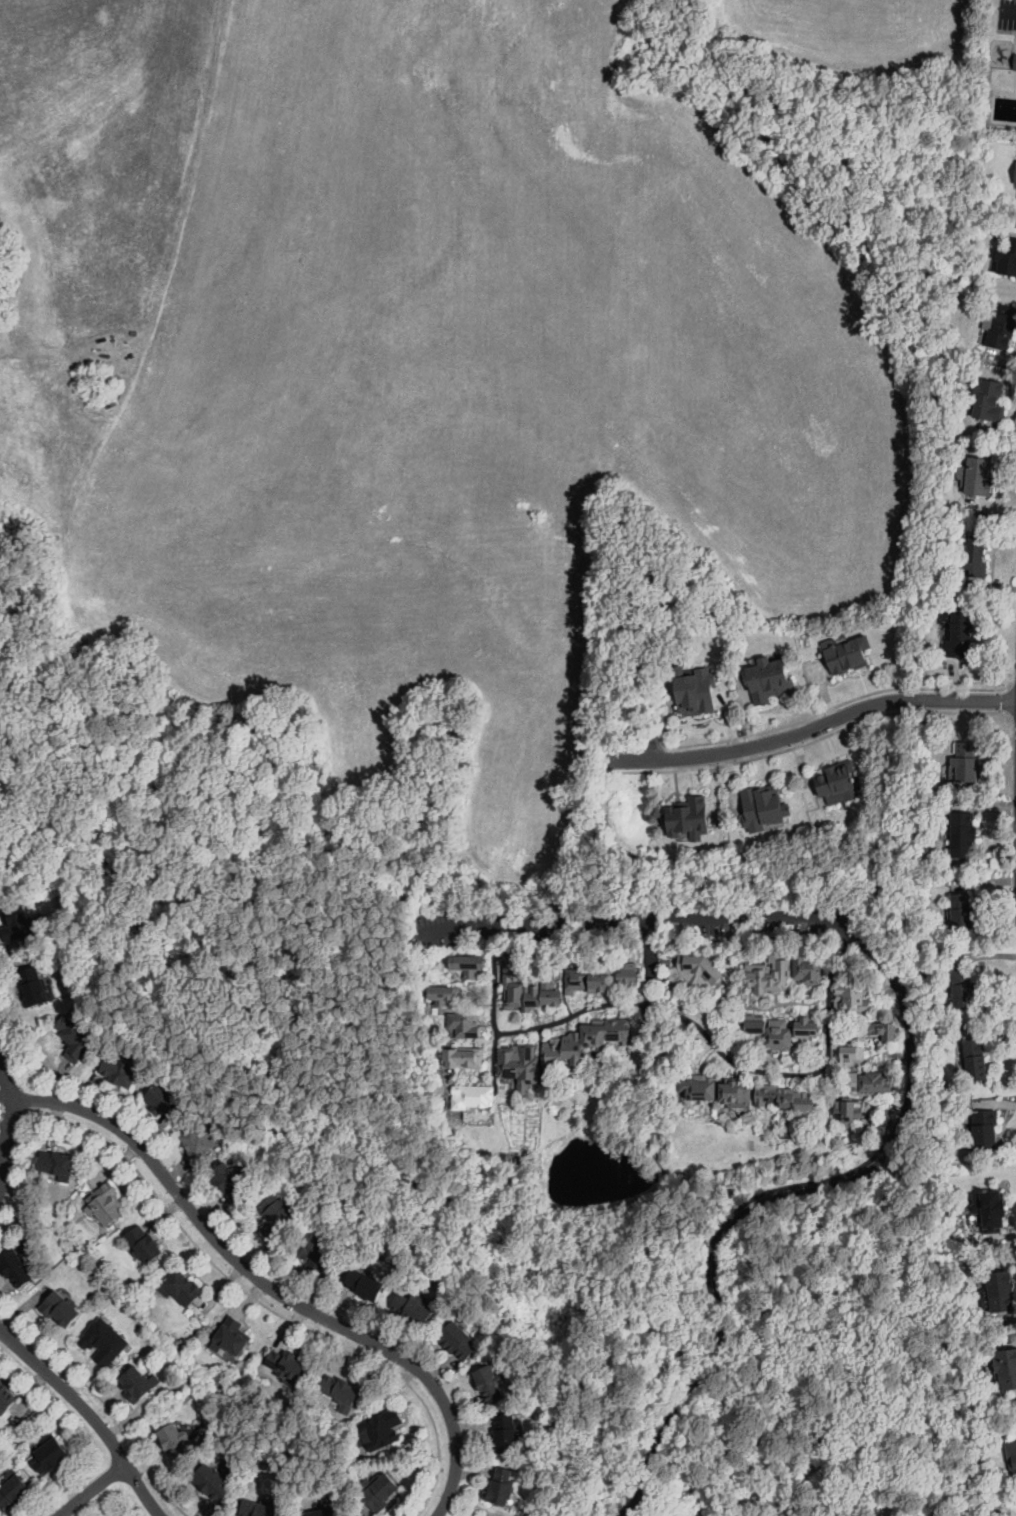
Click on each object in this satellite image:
road: (1009, 10)
parking lot: (1007, 14)
crop: (855, 30)
building: (1015, 181)
building: (1007, 259)
building: (1002, 327)
crop: (409, 356)
building: (91, 376)
building: (988, 401)
building: (979, 475)
building: (973, 557)
building: (958, 634)
building: (847, 653)
building: (770, 679)
road: (969, 688)
building: (695, 689)
road: (813, 727)
road: (769, 728)
road: (814, 739)
road: (653, 745)
building: (965, 764)
building: (839, 784)
building: (763, 807)
building: (690, 818)
building: (962, 835)
building: (962, 914)
building: (18, 924)
building: (677, 932)
road: (647, 951)
building: (467, 965)
building: (698, 971)
building: (808, 971)
building: (627, 974)
building: (768, 976)
building: (585, 980)
building: (32, 986)
building: (963, 991)
building: (443, 995)
building: (530, 995)
road: (645, 996)
building: (850, 999)
road: (494, 1001)
building: (463, 1025)
building: (809, 1025)
building: (881, 1031)
building: (770, 1032)
building: (850, 1036)
building: (78, 1040)
building: (585, 1040)
road: (723, 1053)
building: (849, 1054)
building: (817, 1055)
building: (463, 1058)
road: (15, 1059)
building: (975, 1061)
building: (519, 1066)
road: (914, 1070)
building: (121, 1071)
building: (868, 1079)
building: (550, 1081)
building: (699, 1087)
building: (734, 1092)
building: (472, 1097)
building: (785, 1098)
building: (166, 1102)
building: (848, 1109)
road: (8, 1113)
building: (864, 1121)
building: (981, 1130)
building: (786, 1135)
building: (199, 1142)
building: (662, 1155)
building: (515, 1157)
building: (57, 1163)
building: (232, 1181)
building: (105, 1204)
building: (988, 1209)
building: (274, 1213)
building: (144, 1245)
building: (315, 1250)
building: (17, 1267)
road: (222, 1270)
road: (267, 1284)
building: (364, 1285)
building: (181, 1288)
building: (999, 1292)
building: (61, 1308)
building: (412, 1308)
building: (231, 1337)
building: (177, 1340)
building: (104, 1341)
building: (458, 1341)
road: (47, 1347)
building: (286, 1364)
building: (1006, 1369)
building: (139, 1384)
building: (489, 1384)
building: (340, 1390)
building: (353, 1395)
building: (6, 1397)
road: (89, 1414)
building: (382, 1429)
building: (508, 1433)
building: (178, 1441)
road: (142, 1454)
building: (52, 1456)
building: (1012, 1457)
building: (211, 1480)
road: (83, 1485)
building: (394, 1487)
building: (502, 1487)
road: (90, 1488)
building: (13, 1491)
building: (381, 1493)
road: (477, 1504)
building: (262, 1508)
building: (322, 1512)
building: (481, 1514)
building: (120, 1515)

